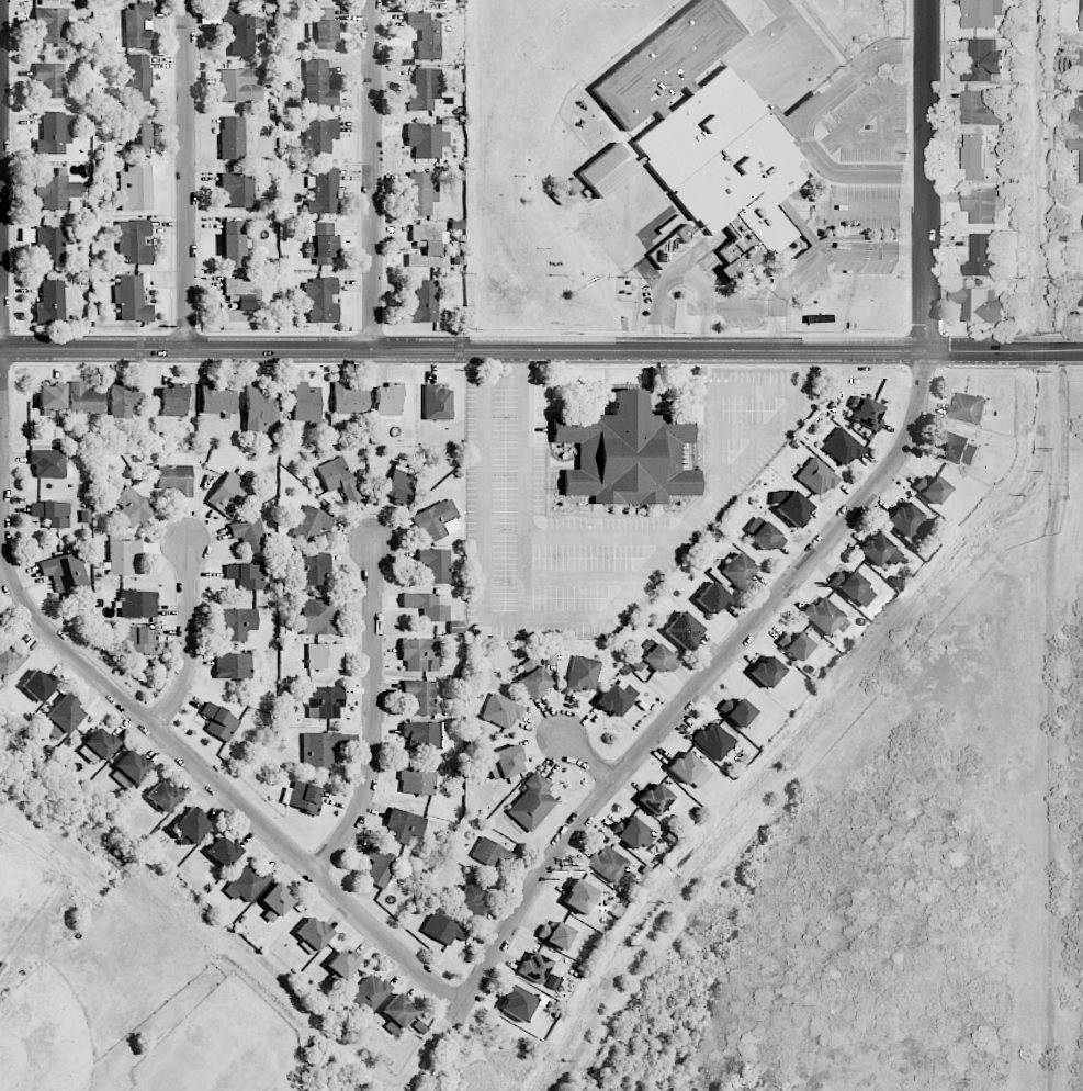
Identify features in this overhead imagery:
building: (234, 0)
building: (445, 0)
building: (981, 13)
building: (1082, 15)
building: (52, 24)
building: (137, 26)
building: (324, 29)
building: (240, 31)
building: (425, 35)
building: (982, 60)
building: (139, 78)
building: (49, 79)
building: (318, 85)
building: (240, 86)
building: (425, 90)
building: (981, 108)
building: (1076, 115)
road: (805, 124)
building: (137, 131)
road: (844, 131)
building: (55, 133)
building: (319, 135)
building: (707, 135)
building: (234, 138)
building: (427, 139)
building: (978, 156)
building: (1081, 167)
building: (608, 170)
road: (185, 175)
road: (373, 175)
building: (135, 187)
building: (238, 189)
building: (56, 190)
building: (324, 191)
building: (421, 193)
building: (980, 204)
building: (134, 240)
building: (321, 243)
building: (48, 244)
building: (234, 245)
building: (428, 245)
road: (839, 250)
building: (980, 256)
road: (664, 283)
building: (1080, 296)
building: (131, 300)
building: (239, 300)
building: (321, 301)
building: (52, 302)
building: (424, 302)
building: (978, 304)
road: (703, 305)
road: (763, 305)
road: (541, 353)
building: (52, 396)
building: (86, 400)
building: (125, 400)
building: (217, 400)
building: (173, 401)
building: (349, 401)
building: (387, 402)
building: (437, 403)
building: (306, 404)
building: (968, 407)
building: (866, 413)
building: (842, 447)
building: (958, 447)
building: (627, 453)
building: (48, 463)
building: (816, 476)
building: (338, 479)
building: (176, 480)
building: (399, 485)
building: (930, 488)
building: (230, 492)
building: (790, 505)
building: (132, 507)
building: (52, 514)
building: (437, 520)
building: (909, 521)
building: (312, 522)
road: (530, 531)
building: (249, 533)
building: (764, 533)
road: (819, 549)
building: (880, 552)
building: (123, 555)
building: (435, 564)
building: (312, 569)
building: (738, 571)
building: (66, 572)
building: (248, 576)
building: (853, 588)
building: (713, 598)
building: (138, 604)
building: (427, 606)
building: (824, 615)
building: (317, 617)
building: (237, 623)
road: (577, 623)
building: (684, 630)
road: (188, 638)
building: (139, 641)
building: (794, 645)
building: (418, 653)
building: (325, 656)
building: (659, 659)
building: (10, 660)
building: (236, 665)
building: (767, 672)
building: (583, 674)
building: (533, 678)
building: (38, 685)
building: (421, 697)
building: (617, 698)
building: (324, 701)
building: (501, 711)
building: (736, 711)
road: (374, 715)
building: (61, 718)
road: (1049, 720)
building: (219, 722)
building: (425, 736)
road: (167, 740)
building: (714, 740)
building: (98, 746)
building: (318, 749)
road: (588, 757)
building: (504, 763)
building: (129, 769)
building: (689, 769)
building: (417, 780)
building: (163, 796)
building: (302, 797)
building: (657, 799)
building: (531, 803)
building: (404, 825)
building: (192, 826)
building: (632, 833)
building: (223, 852)
building: (490, 853)
building: (607, 864)
building: (380, 866)
building: (248, 882)
building: (471, 897)
building: (579, 897)
building: (274, 902)
building: (443, 930)
building: (314, 933)
building: (555, 934)
building: (345, 964)
building: (534, 967)
building: (370, 992)
building: (520, 1004)
building: (397, 1013)

